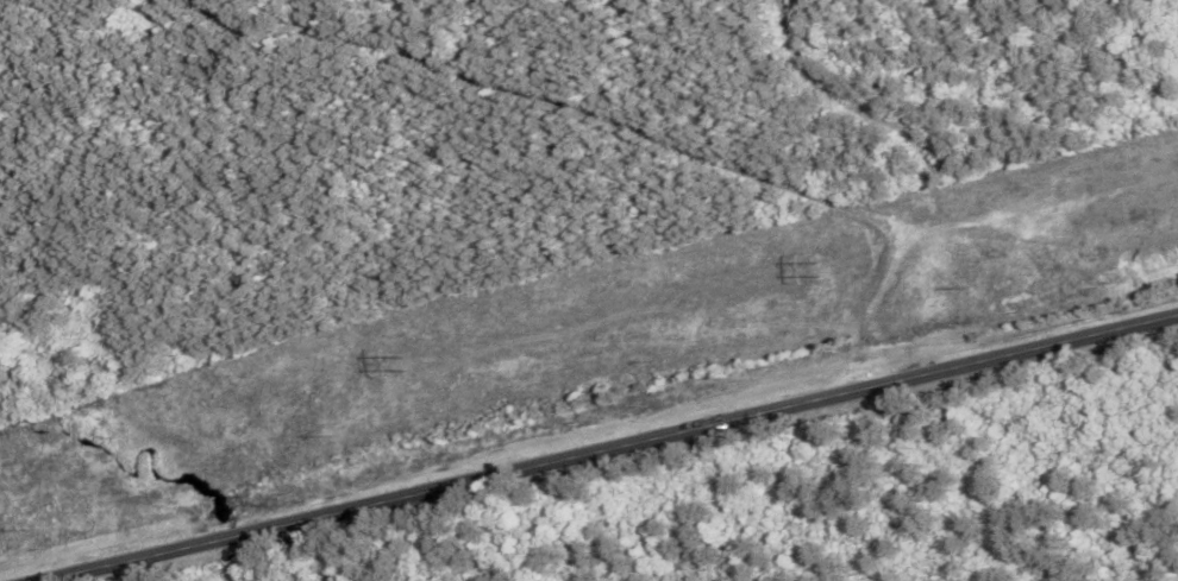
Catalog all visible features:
road: (610, 133)
power tower: (817, 270)
power tower: (405, 361)
road: (613, 448)

